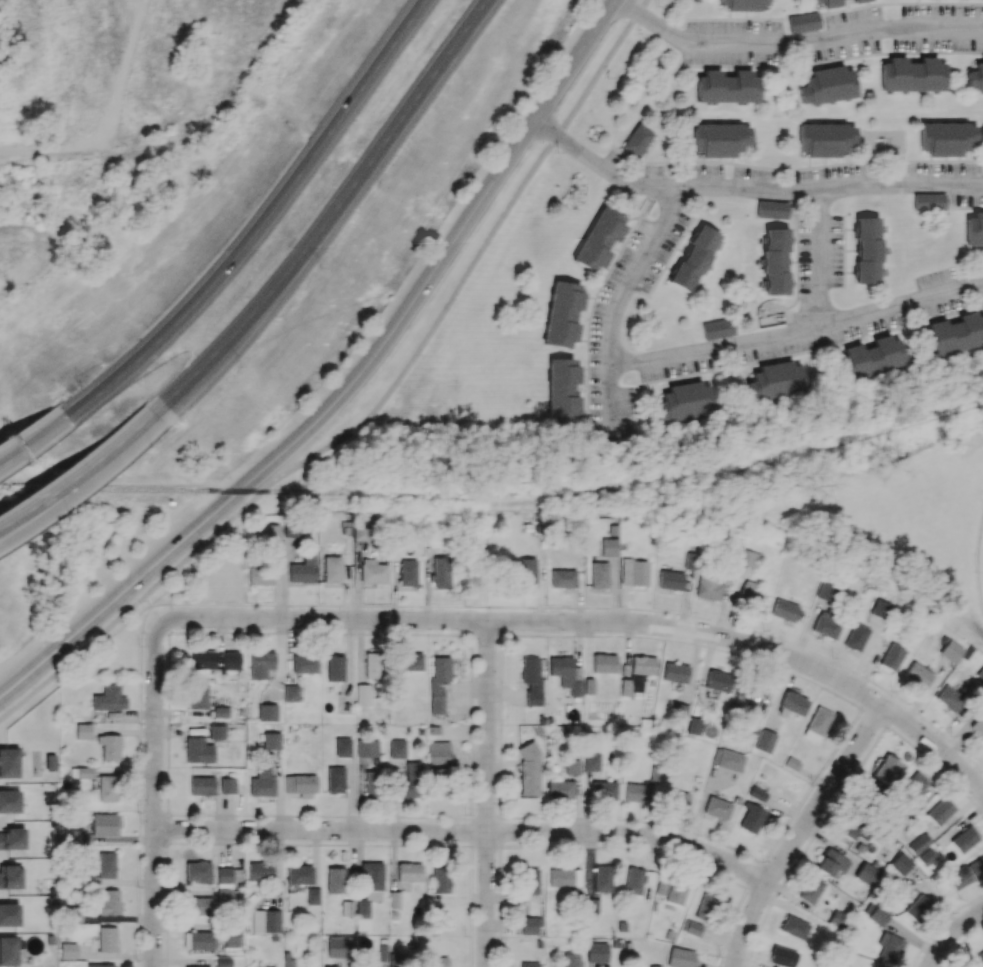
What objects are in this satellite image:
road: (642, 6)
road: (794, 43)
road: (57, 153)
road: (748, 190)
road: (330, 214)
road: (257, 224)
crop: (20, 253)
road: (822, 258)
road: (618, 306)
road: (798, 331)
road: (350, 385)
road: (371, 414)
road: (29, 439)
road: (4, 455)
road: (78, 471)
road: (65, 495)
park: (928, 506)
park: (979, 565)
road: (595, 622)
road: (487, 793)
road: (154, 794)
road: (466, 832)
road: (800, 832)
road: (951, 935)

